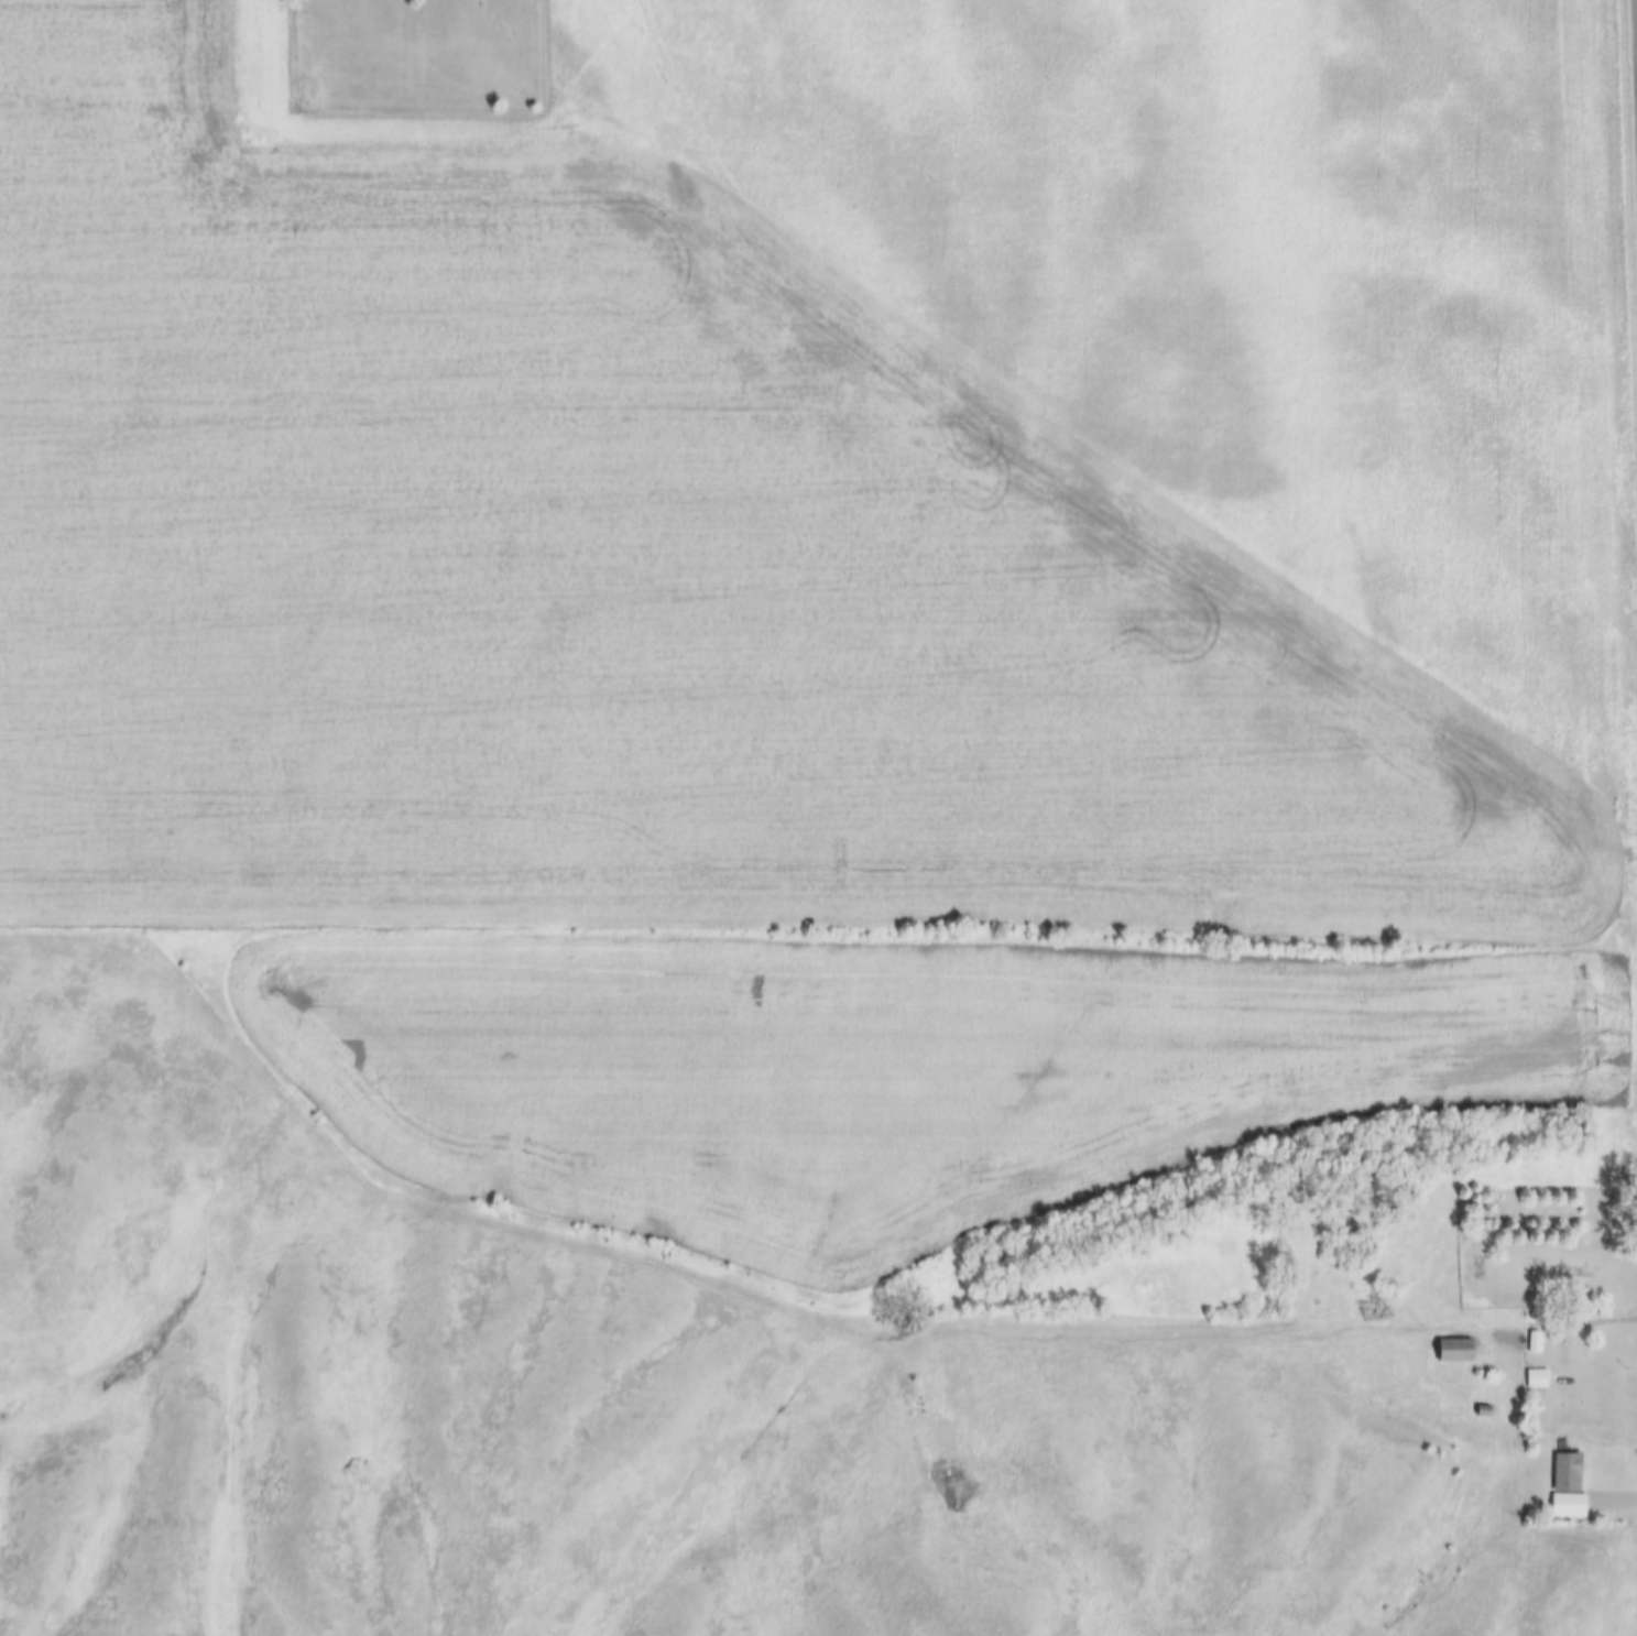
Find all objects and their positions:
road: (1028, 1333)
building: (1535, 1342)
building: (1456, 1351)
building: (1538, 1379)
building: (1486, 1411)
building: (1570, 1488)
road: (1616, 1501)

